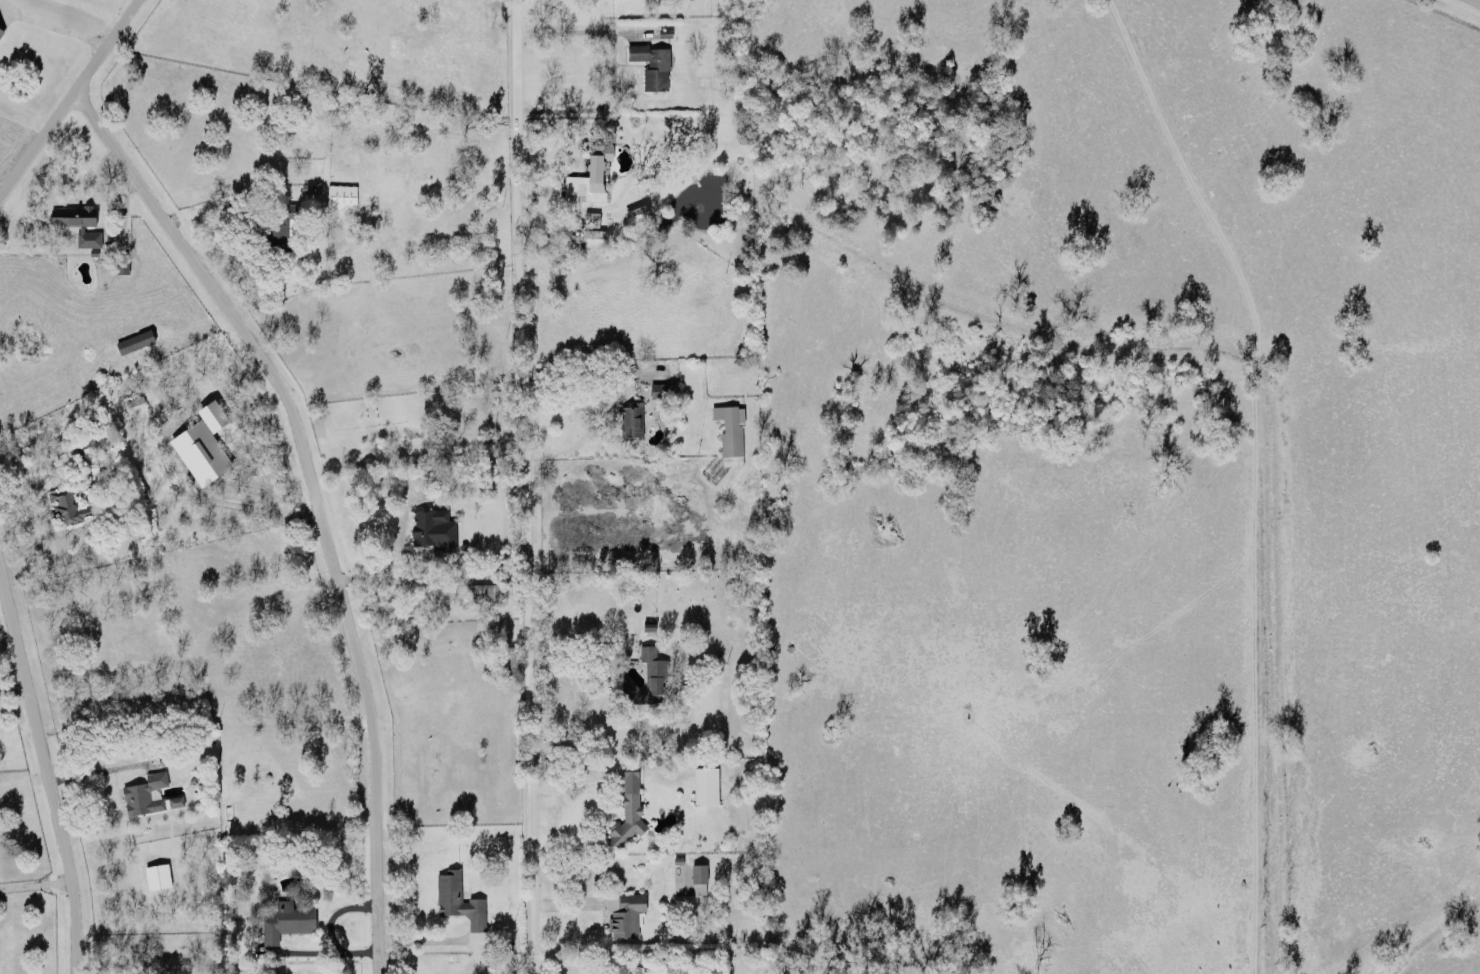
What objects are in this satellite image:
road: (1476, 2)
road: (58, 26)
building: (1, 28)
building: (651, 62)
road: (611, 65)
road: (67, 95)
building: (595, 164)
building: (310, 186)
building: (341, 194)
road: (220, 202)
building: (591, 217)
building: (79, 220)
building: (284, 224)
building: (120, 263)
building: (134, 339)
building: (657, 388)
building: (134, 400)
road: (585, 411)
building: (630, 419)
building: (730, 431)
road: (37, 462)
road: (1259, 470)
road: (526, 486)
road: (314, 499)
building: (431, 526)
road: (395, 577)
building: (484, 591)
road: (577, 643)
building: (652, 672)
road: (12, 685)
road: (44, 771)
road: (96, 771)
road: (571, 780)
building: (705, 783)
building: (148, 793)
building: (627, 803)
building: (697, 870)
building: (157, 874)
road: (34, 881)
building: (459, 898)
building: (624, 913)
road: (335, 914)
building: (286, 919)
road: (426, 938)
road: (324, 949)
road: (593, 960)

